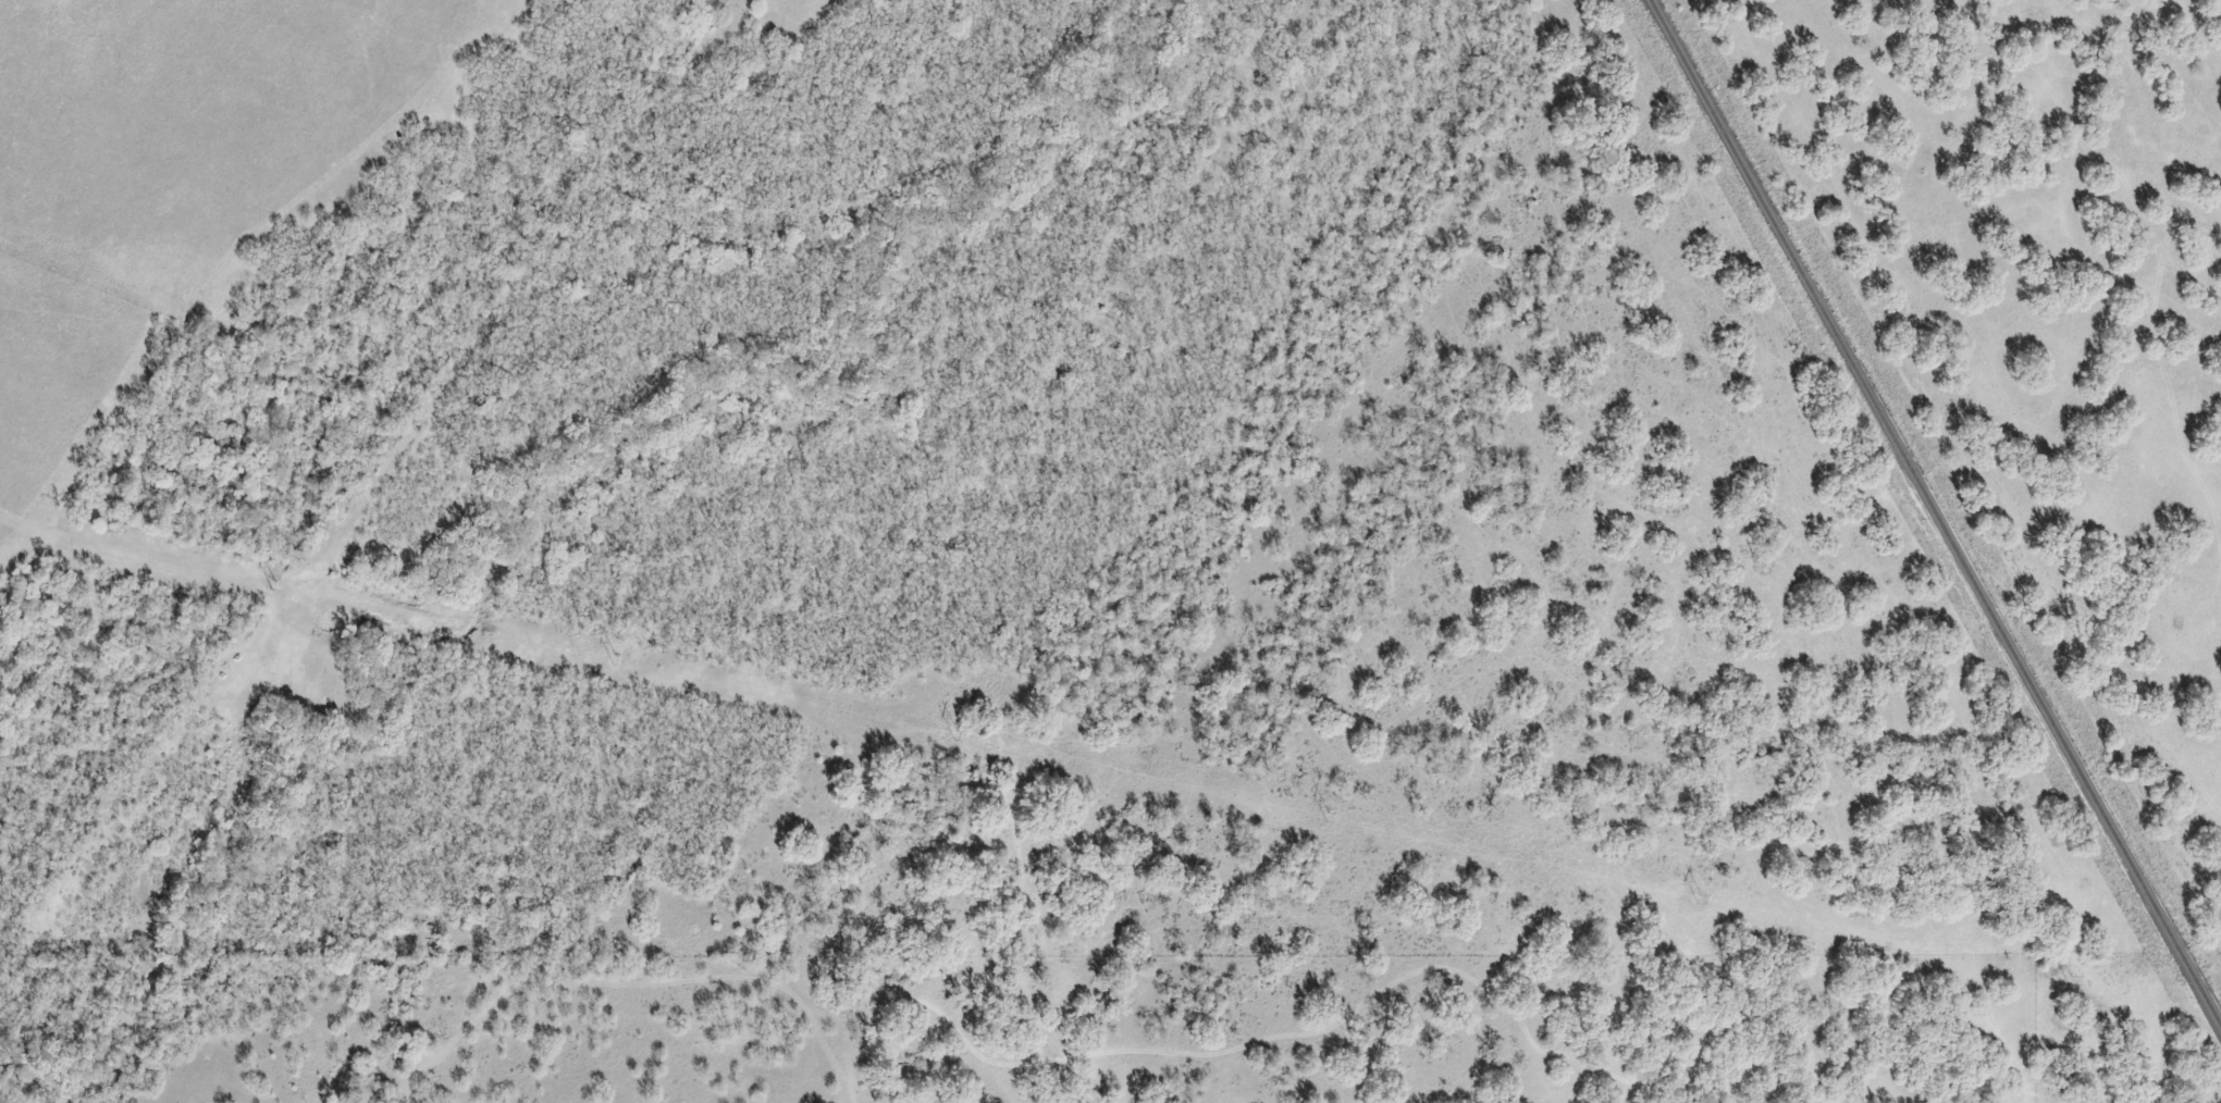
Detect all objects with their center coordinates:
railway: (1934, 516)
power tower: (281, 582)
power tower: (622, 657)
power tower: (963, 732)
power tower: (1336, 815)
power tower: (1705, 896)
power tower: (2076, 978)

